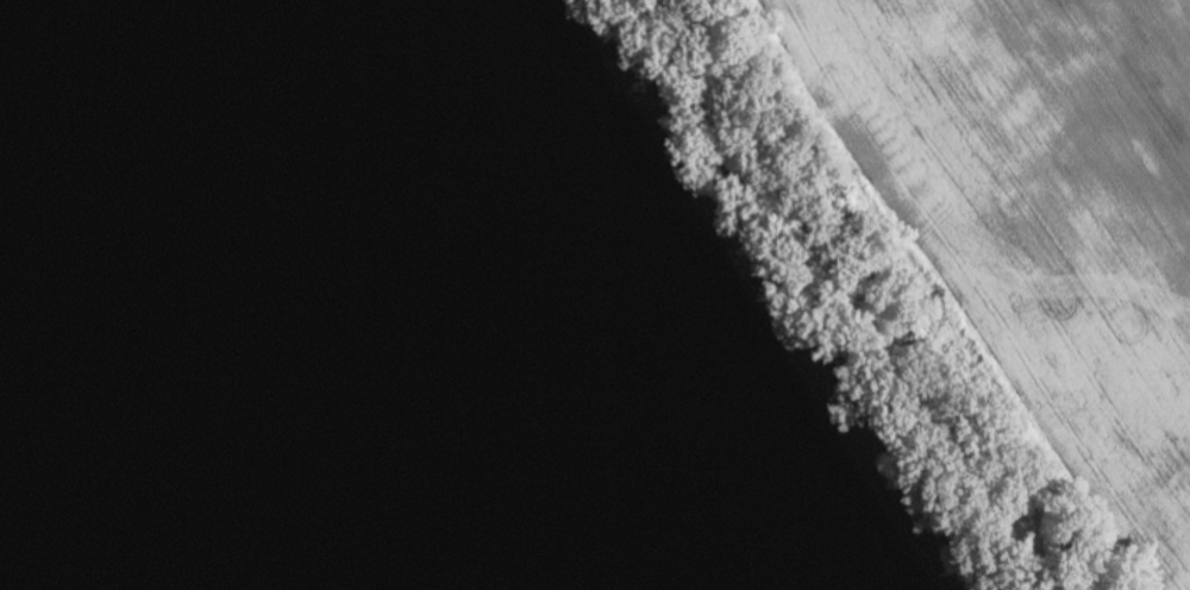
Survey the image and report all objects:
crop: (1047, 214)
river: (77, 479)

